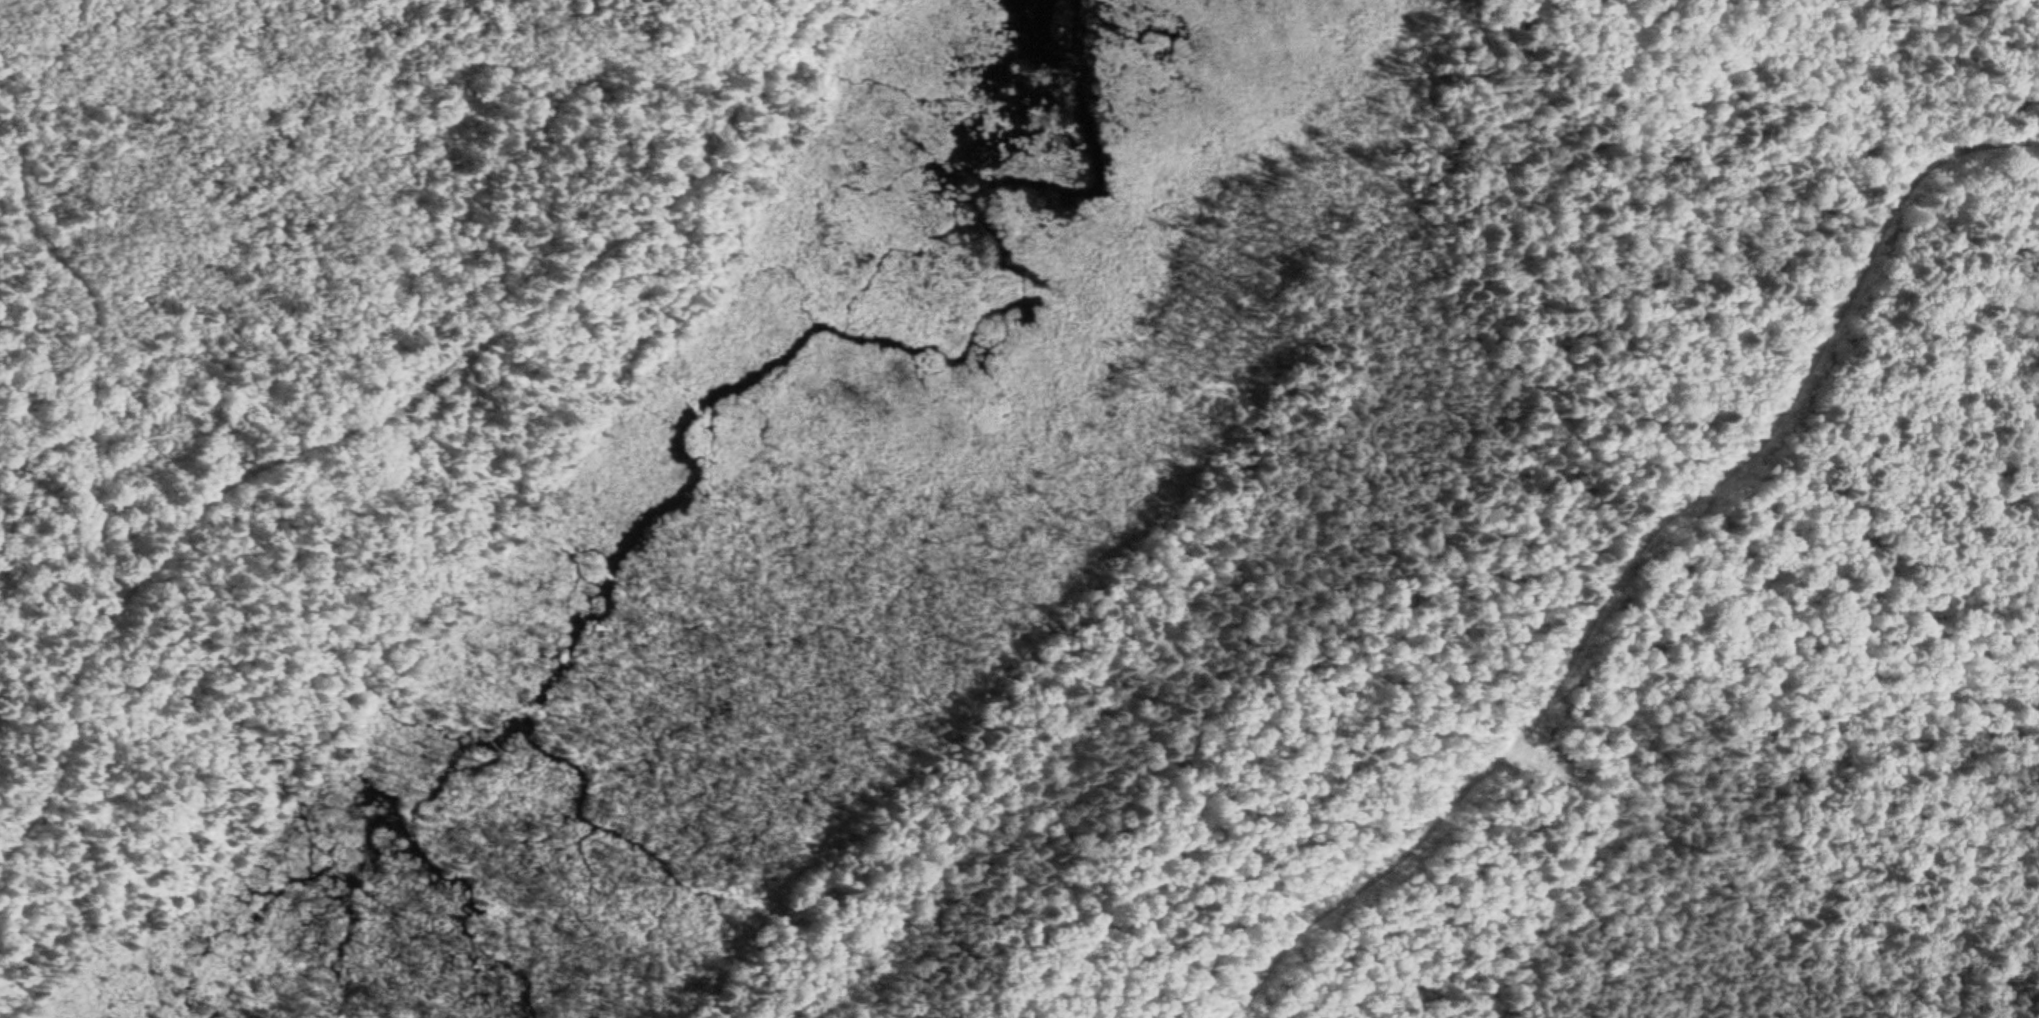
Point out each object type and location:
road: (335, 362)

